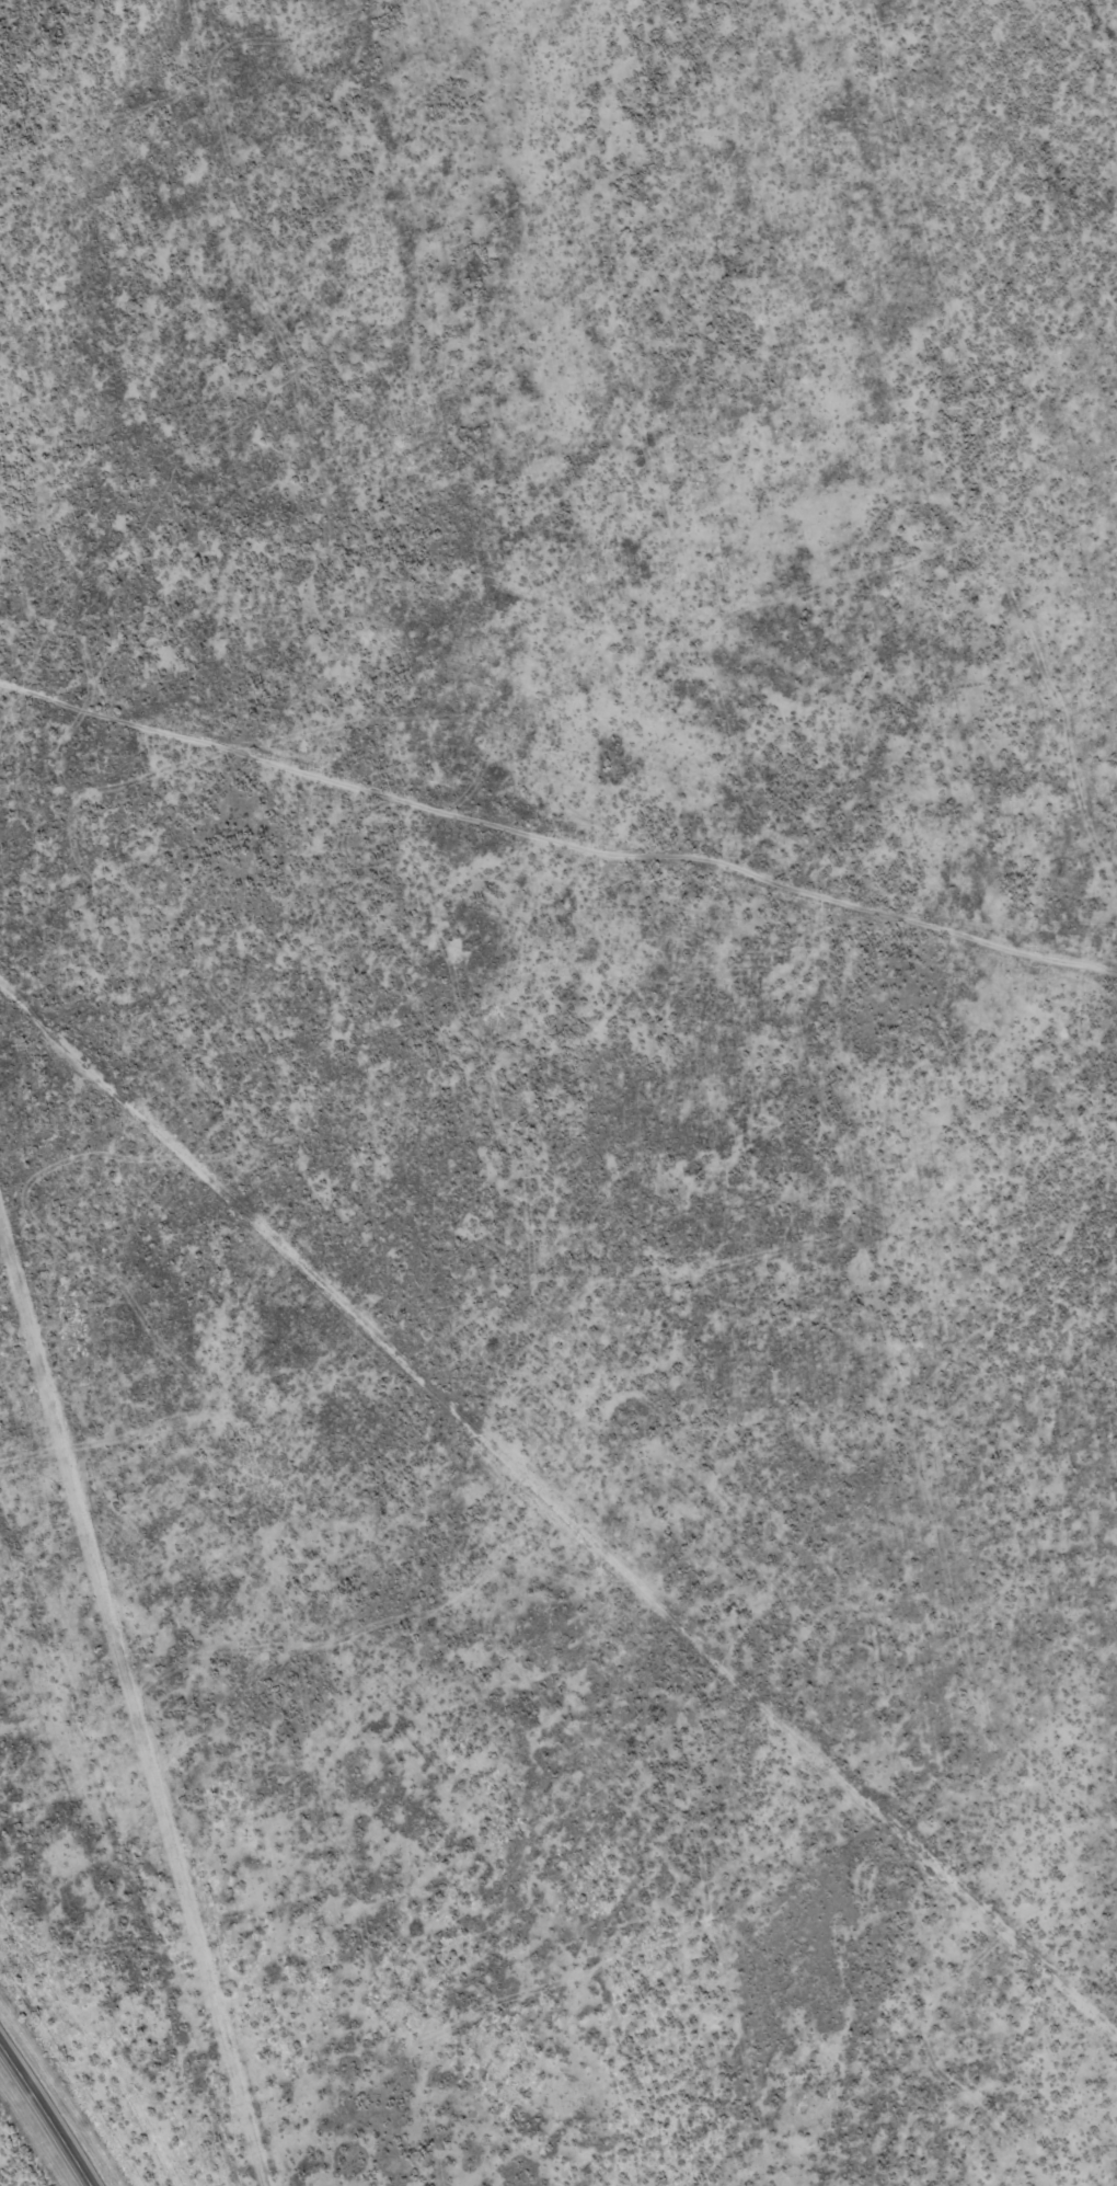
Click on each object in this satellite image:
road: (44, 2120)

